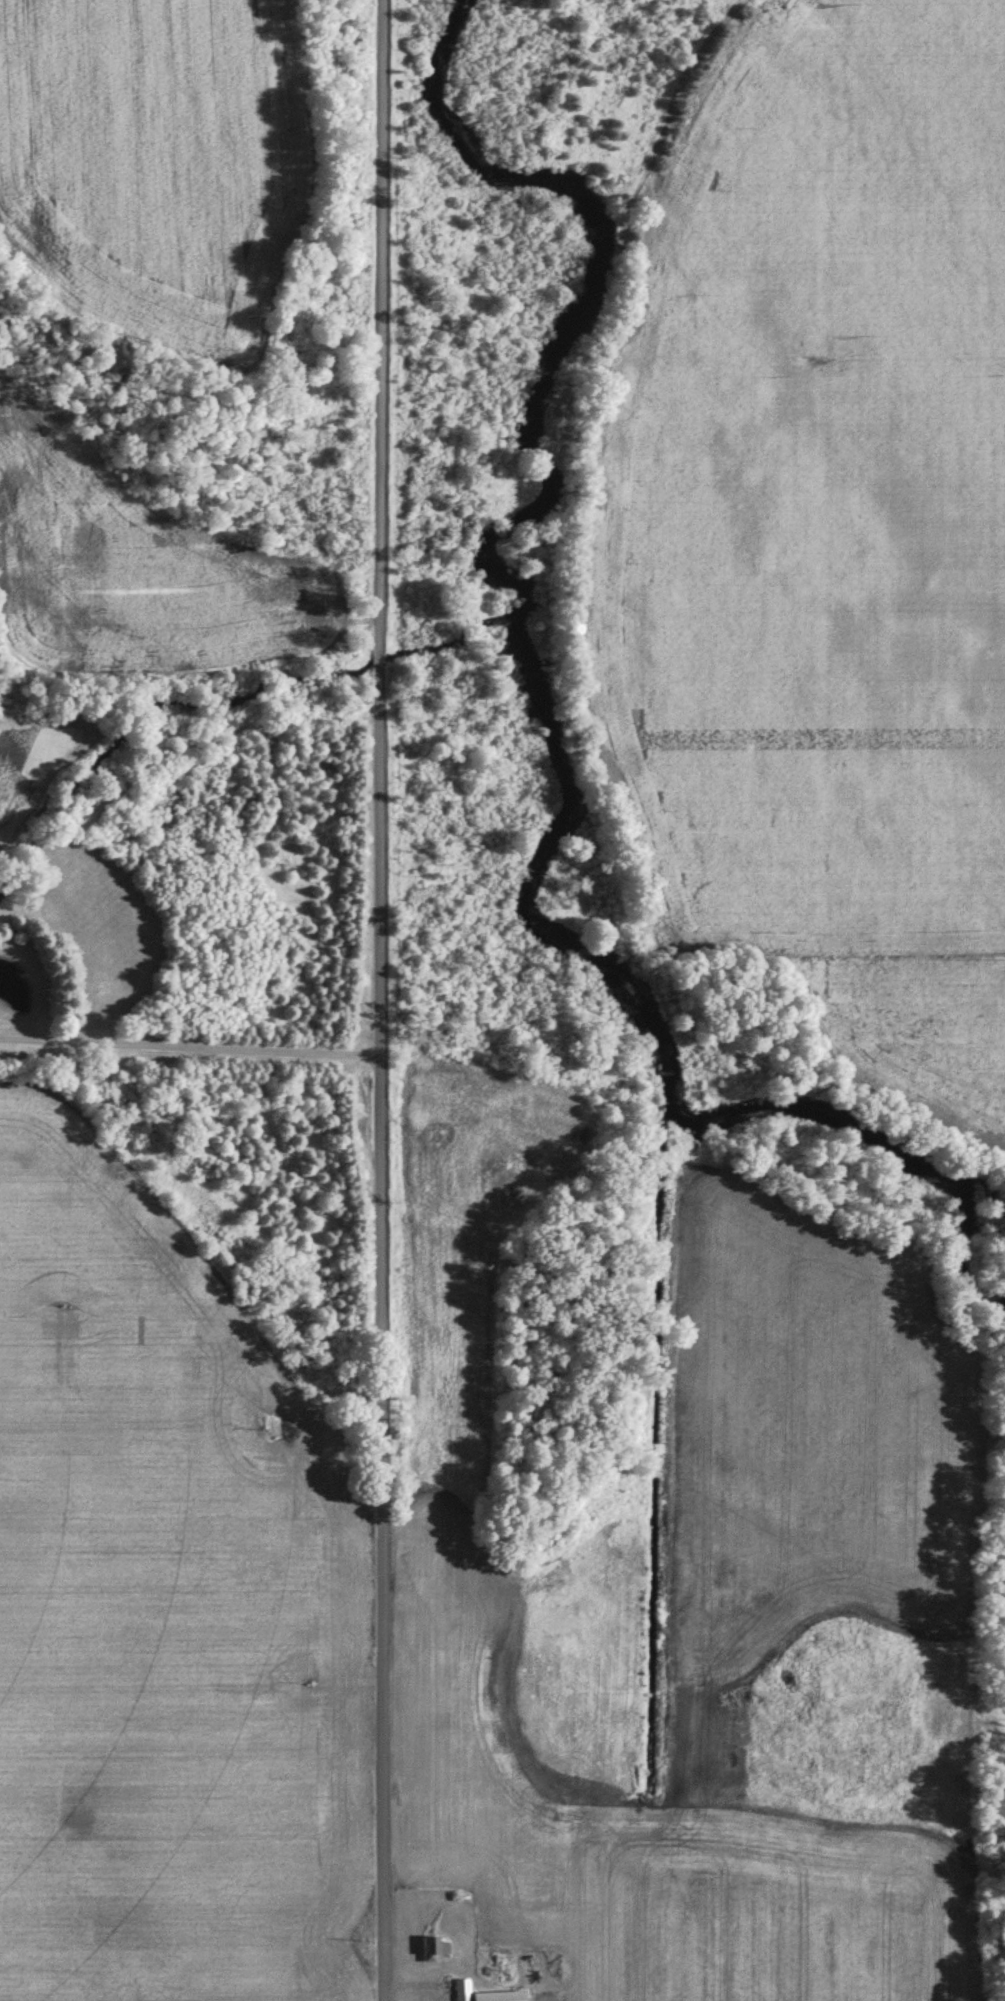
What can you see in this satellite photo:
road: (390, 1000)
road: (195, 1043)
building: (435, 1948)
building: (462, 1990)
building: (500, 1996)

